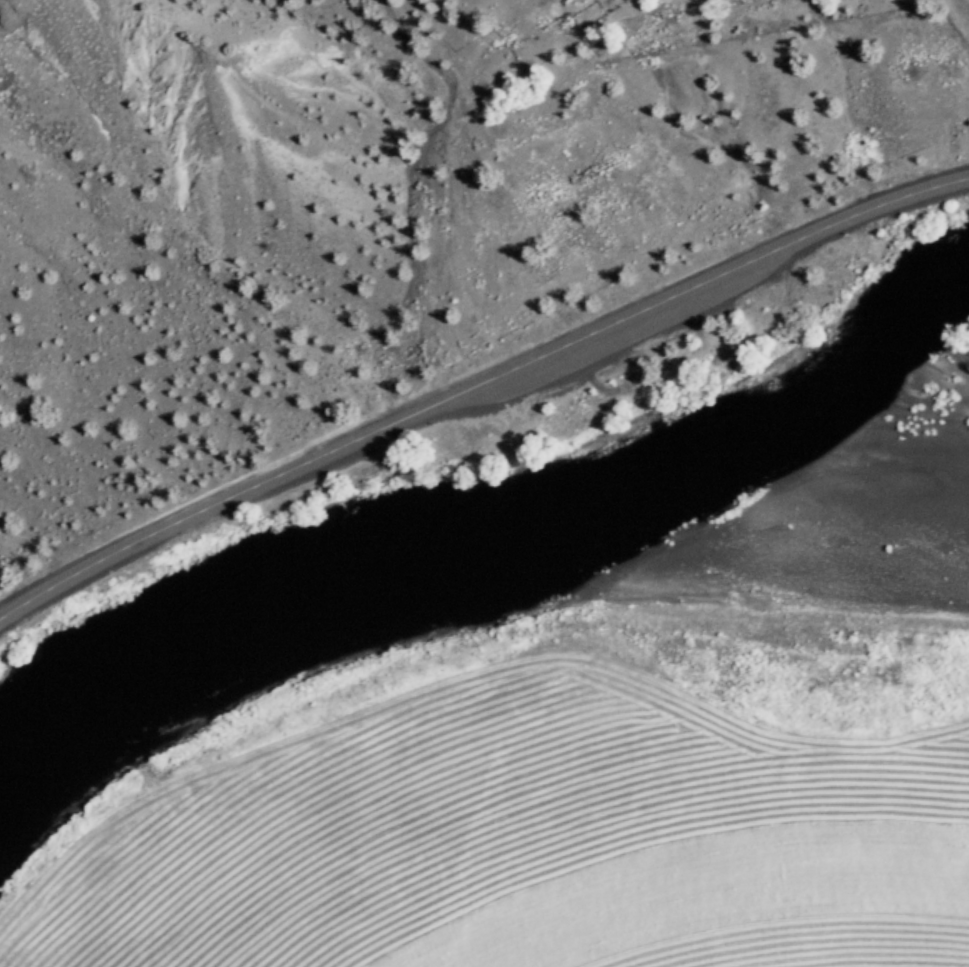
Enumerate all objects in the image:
parking lot: (561, 392)
road: (476, 396)
river: (458, 563)

